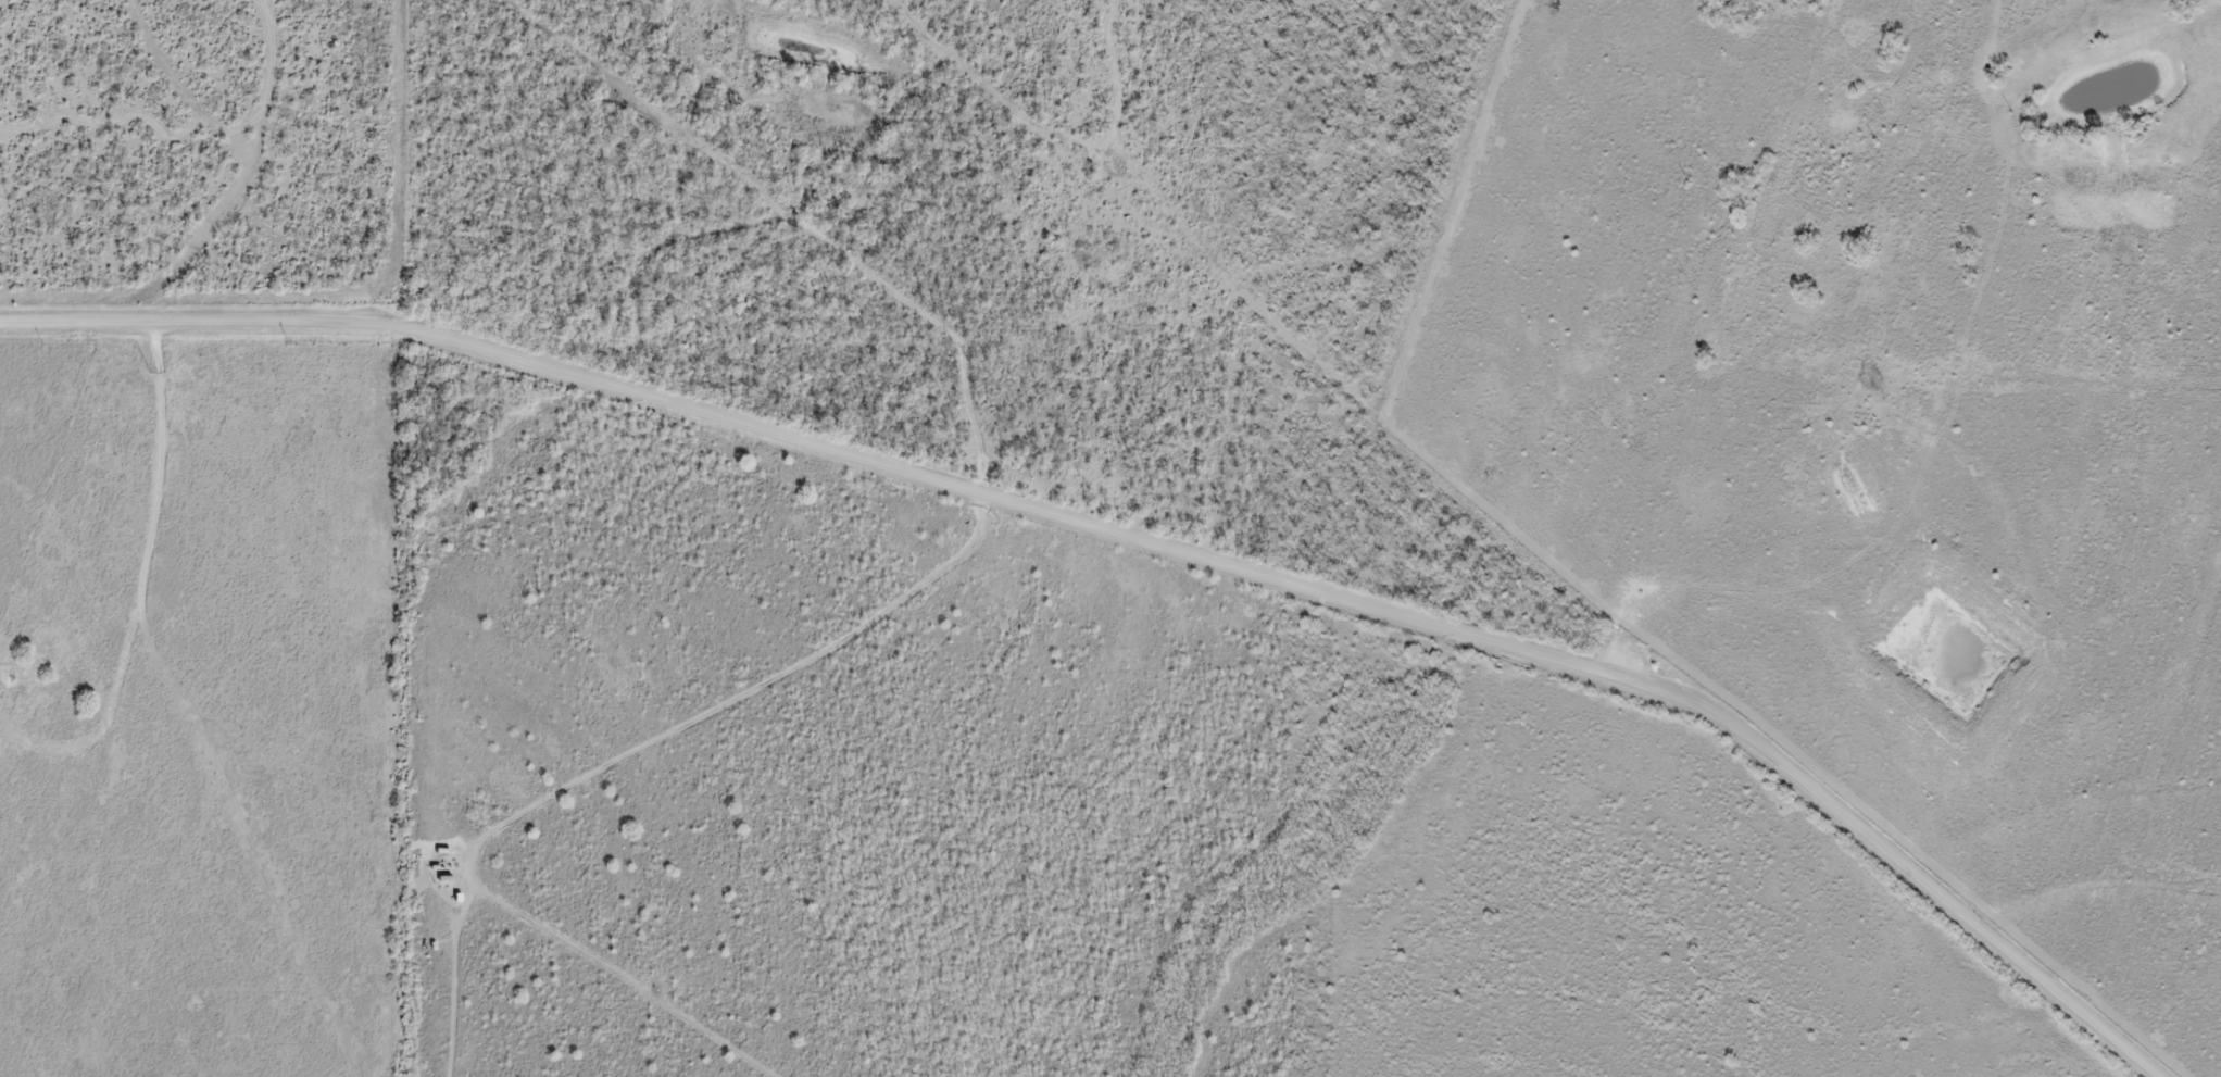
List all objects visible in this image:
road: (1030, 237)
road: (1140, 539)

